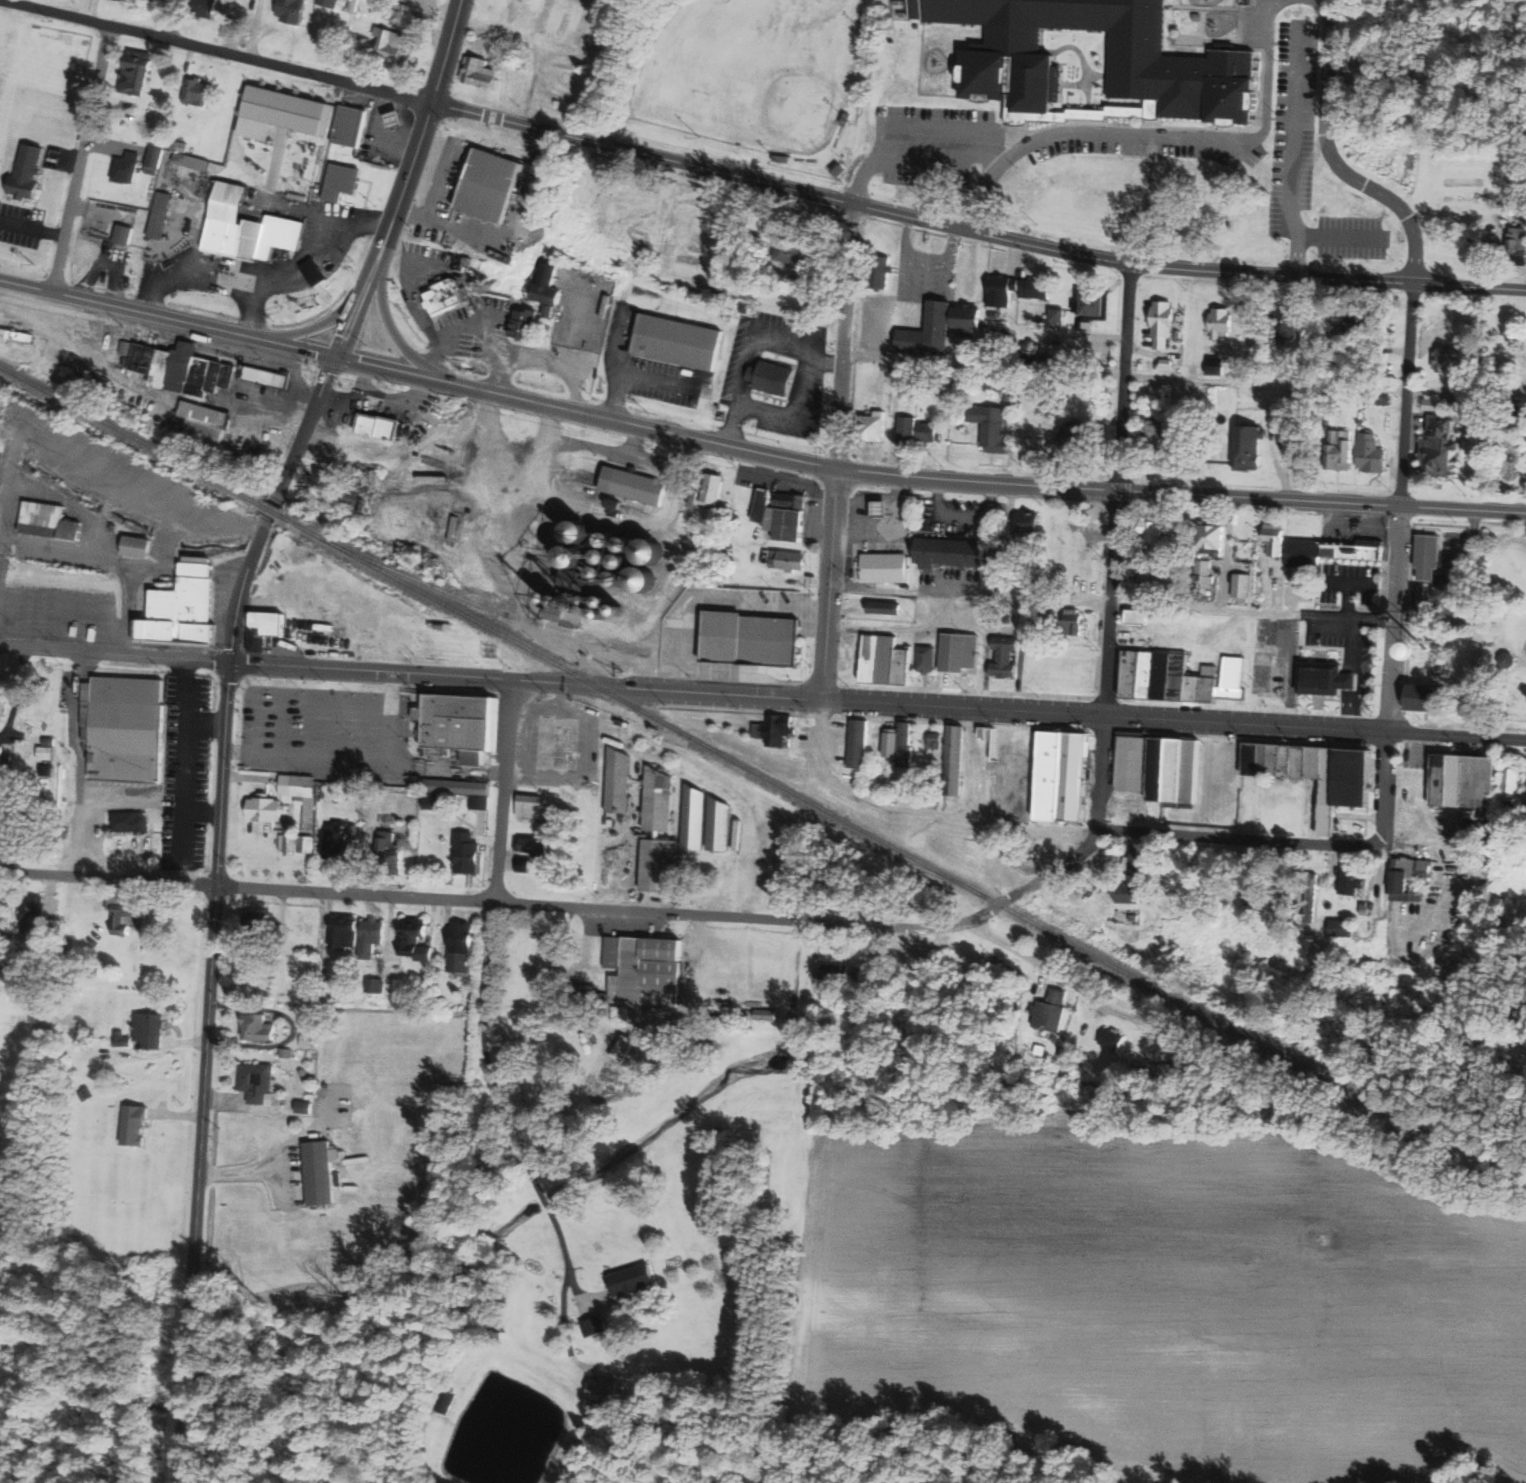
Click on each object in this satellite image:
building: (124, 0)
building: (332, 3)
building: (356, 6)
building: (206, 8)
building: (293, 10)
building: (515, 10)
building: (546, 15)
road: (172, 19)
building: (565, 25)
building: (583, 25)
building: (603, 29)
road: (510, 33)
building: (394, 44)
building: (518, 59)
building: (139, 68)
park: (752, 69)
building: (481, 71)
building: (1182, 74)
building: (570, 78)
road: (532, 86)
building: (198, 92)
building: (559, 97)
building: (136, 105)
building: (289, 110)
building: (158, 116)
building: (847, 119)
building: (398, 120)
road: (424, 124)
building: (351, 125)
road: (918, 125)
gas station: (353, 126)
road: (1160, 135)
parking lot: (937, 144)
parking lot: (1092, 144)
road: (103, 145)
parking lot: (1213, 149)
building: (157, 157)
building: (784, 157)
road: (67, 158)
road: (83, 158)
road: (1334, 159)
road: (113, 160)
building: (193, 161)
road: (47, 164)
parking lot: (1309, 164)
building: (129, 168)
building: (840, 169)
building: (152, 170)
building: (28, 173)
road: (761, 179)
building: (342, 183)
building: (493, 184)
building: (1517, 202)
road: (439, 204)
building: (162, 216)
road: (473, 224)
road: (33, 226)
building: (246, 227)
building: (126, 234)
building: (1516, 242)
building: (792, 251)
road: (371, 263)
parking lot: (926, 267)
building: (877, 270)
building: (316, 273)
building: (550, 285)
building: (1033, 287)
building: (998, 288)
road: (413, 292)
building: (447, 295)
building: (1091, 300)
road: (29, 306)
road: (136, 309)
building: (550, 312)
building: (1055, 313)
road: (350, 318)
building: (966, 319)
road: (325, 321)
road: (386, 321)
building: (1353, 321)
road: (474, 322)
building: (1165, 323)
building: (1219, 323)
building: (1282, 323)
building: (527, 324)
building: (926, 330)
building: (17, 335)
road: (845, 335)
building: (678, 342)
building: (992, 345)
building: (127, 348)
road: (304, 348)
building: (1029, 350)
traffic signals: (336, 355)
building: (1446, 359)
building: (1165, 362)
building: (1213, 362)
road: (577, 364)
road: (385, 367)
building: (893, 368)
road: (983, 368)
building: (183, 369)
road: (620, 372)
building: (1291, 373)
building: (1342, 373)
building: (75, 374)
building: (268, 376)
building: (774, 378)
building: (1071, 382)
road: (1264, 383)
building: (1157, 389)
road: (1466, 393)
road: (616, 395)
building: (1006, 395)
building: (1208, 395)
building: (1376, 399)
building: (1431, 403)
building: (1315, 410)
building: (1279, 414)
building: (1360, 421)
building: (206, 423)
road: (306, 424)
road: (635, 424)
building: (871, 425)
building: (383, 427)
building: (989, 427)
building: (903, 429)
building: (927, 431)
railway: (130, 435)
building: (1078, 435)
building: (1150, 435)
building: (1245, 444)
building: (1184, 445)
building: (1436, 445)
building: (1337, 450)
building: (1368, 451)
road: (14, 457)
building: (248, 460)
road: (136, 475)
road: (5, 480)
building: (635, 485)
building: (714, 490)
road: (1180, 494)
building: (362, 500)
building: (793, 502)
building: (618, 505)
building: (763, 506)
road: (270, 509)
railway: (272, 511)
road: (177, 513)
building: (49, 519)
building: (1026, 521)
building: (791, 525)
building: (1149, 527)
building: (455, 529)
building: (1210, 535)
building: (589, 537)
silo: (589, 537)
building: (1272, 537)
road: (166, 541)
building: (616, 544)
silo: (616, 544)
building: (136, 547)
building: (634, 549)
silo: (634, 549)
building: (1353, 549)
building: (1136, 550)
building: (948, 552)
building: (655, 553)
silo: (655, 553)
building: (1302, 553)
building: (1428, 556)
building: (790, 560)
building: (611, 561)
silo: (611, 561)
building: (580, 562)
silo: (580, 562)
building: (629, 565)
silo: (629, 565)
building: (882, 566)
building: (1202, 571)
road: (1113, 573)
building: (604, 577)
silo: (604, 577)
building: (1146, 577)
building: (624, 582)
silo: (624, 582)
building: (649, 582)
silo: (649, 582)
road: (828, 583)
building: (1030, 583)
parking lot: (1352, 583)
building: (1240, 584)
road: (970, 595)
road: (1396, 596)
road: (132, 598)
building: (580, 599)
silo: (580, 599)
building: (556, 601)
silo: (556, 601)
building: (592, 602)
silo: (592, 602)
railway: (483, 605)
building: (615, 606)
silo: (615, 606)
building: (571, 607)
silo: (571, 607)
building: (883, 607)
building: (183, 609)
road: (575, 611)
road: (1253, 611)
building: (589, 612)
silo: (589, 612)
building: (995, 612)
building: (628, 615)
silo: (628, 615)
building: (1135, 616)
building: (611, 618)
silo: (611, 618)
building: (1071, 622)
building: (266, 628)
park: (1499, 634)
building: (751, 641)
building: (956, 651)
water tower: (1422, 651)
road: (115, 653)
parking lot: (1347, 655)
water tower: (1427, 655)
building: (881, 658)
building: (924, 658)
building: (1004, 658)
building: (1504, 659)
traffic signals: (230, 661)
building: (1436, 670)
building: (1179, 677)
building: (1321, 678)
road: (525, 681)
building: (1423, 696)
building: (0, 709)
road: (1173, 719)
building: (460, 722)
building: (128, 726)
building: (776, 731)
parking lot: (326, 732)
building: (933, 739)
building: (50, 742)
building: (857, 743)
building: (900, 745)
building: (47, 752)
building: (5, 753)
building: (951, 758)
road: (587, 759)
road: (977, 763)
building: (1158, 766)
building: (1043, 768)
building: (47, 769)
parking lot: (186, 769)
building: (1311, 772)
building: (621, 780)
building: (1460, 780)
building: (1509, 783)
building: (458, 786)
road: (504, 790)
building: (304, 794)
building: (301, 798)
building: (661, 799)
building: (433, 800)
building: (481, 801)
building: (532, 805)
building: (267, 808)
railway: (811, 811)
road: (915, 812)
building: (550, 813)
building: (696, 817)
building: (1, 820)
building: (131, 821)
building: (612, 822)
building: (722, 824)
building: (355, 831)
building: (617, 833)
building: (1518, 837)
building: (338, 840)
building: (288, 843)
building: (308, 843)
building: (536, 844)
building: (467, 851)
building: (389, 852)
railway: (902, 852)
building: (1136, 860)
building: (661, 864)
building: (1350, 877)
building: (1407, 877)
building: (1250, 883)
building: (1125, 892)
building: (1308, 896)
building: (1362, 908)
building: (128, 912)
building: (1132, 913)
building: (36, 914)
road: (738, 914)
road: (213, 918)
building: (1243, 921)
building: (263, 926)
building: (1340, 927)
building: (345, 930)
building: (373, 937)
building: (417, 937)
building: (462, 947)
building: (646, 969)
building: (26, 973)
building: (36, 974)
building: (836, 974)
building: (868, 977)
road: (1074, 983)
building: (376, 985)
building: (581, 994)
building: (328, 997)
building: (1053, 1011)
building: (767, 1014)
building: (259, 1028)
building: (151, 1029)
building: (123, 1038)
building: (1114, 1038)
building: (308, 1040)
building: (626, 1047)
building: (287, 1052)
crop: (18, 1060)
building: (1178, 1070)
building: (257, 1080)
building: (312, 1091)
road: (499, 1092)
building: (87, 1093)
building: (306, 1107)
building: (136, 1124)
building: (323, 1172)
building: (634, 1280)
crop: (1169, 1296)
building: (598, 1326)
building: (605, 1389)
road: (186, 1399)
building: (446, 1401)

